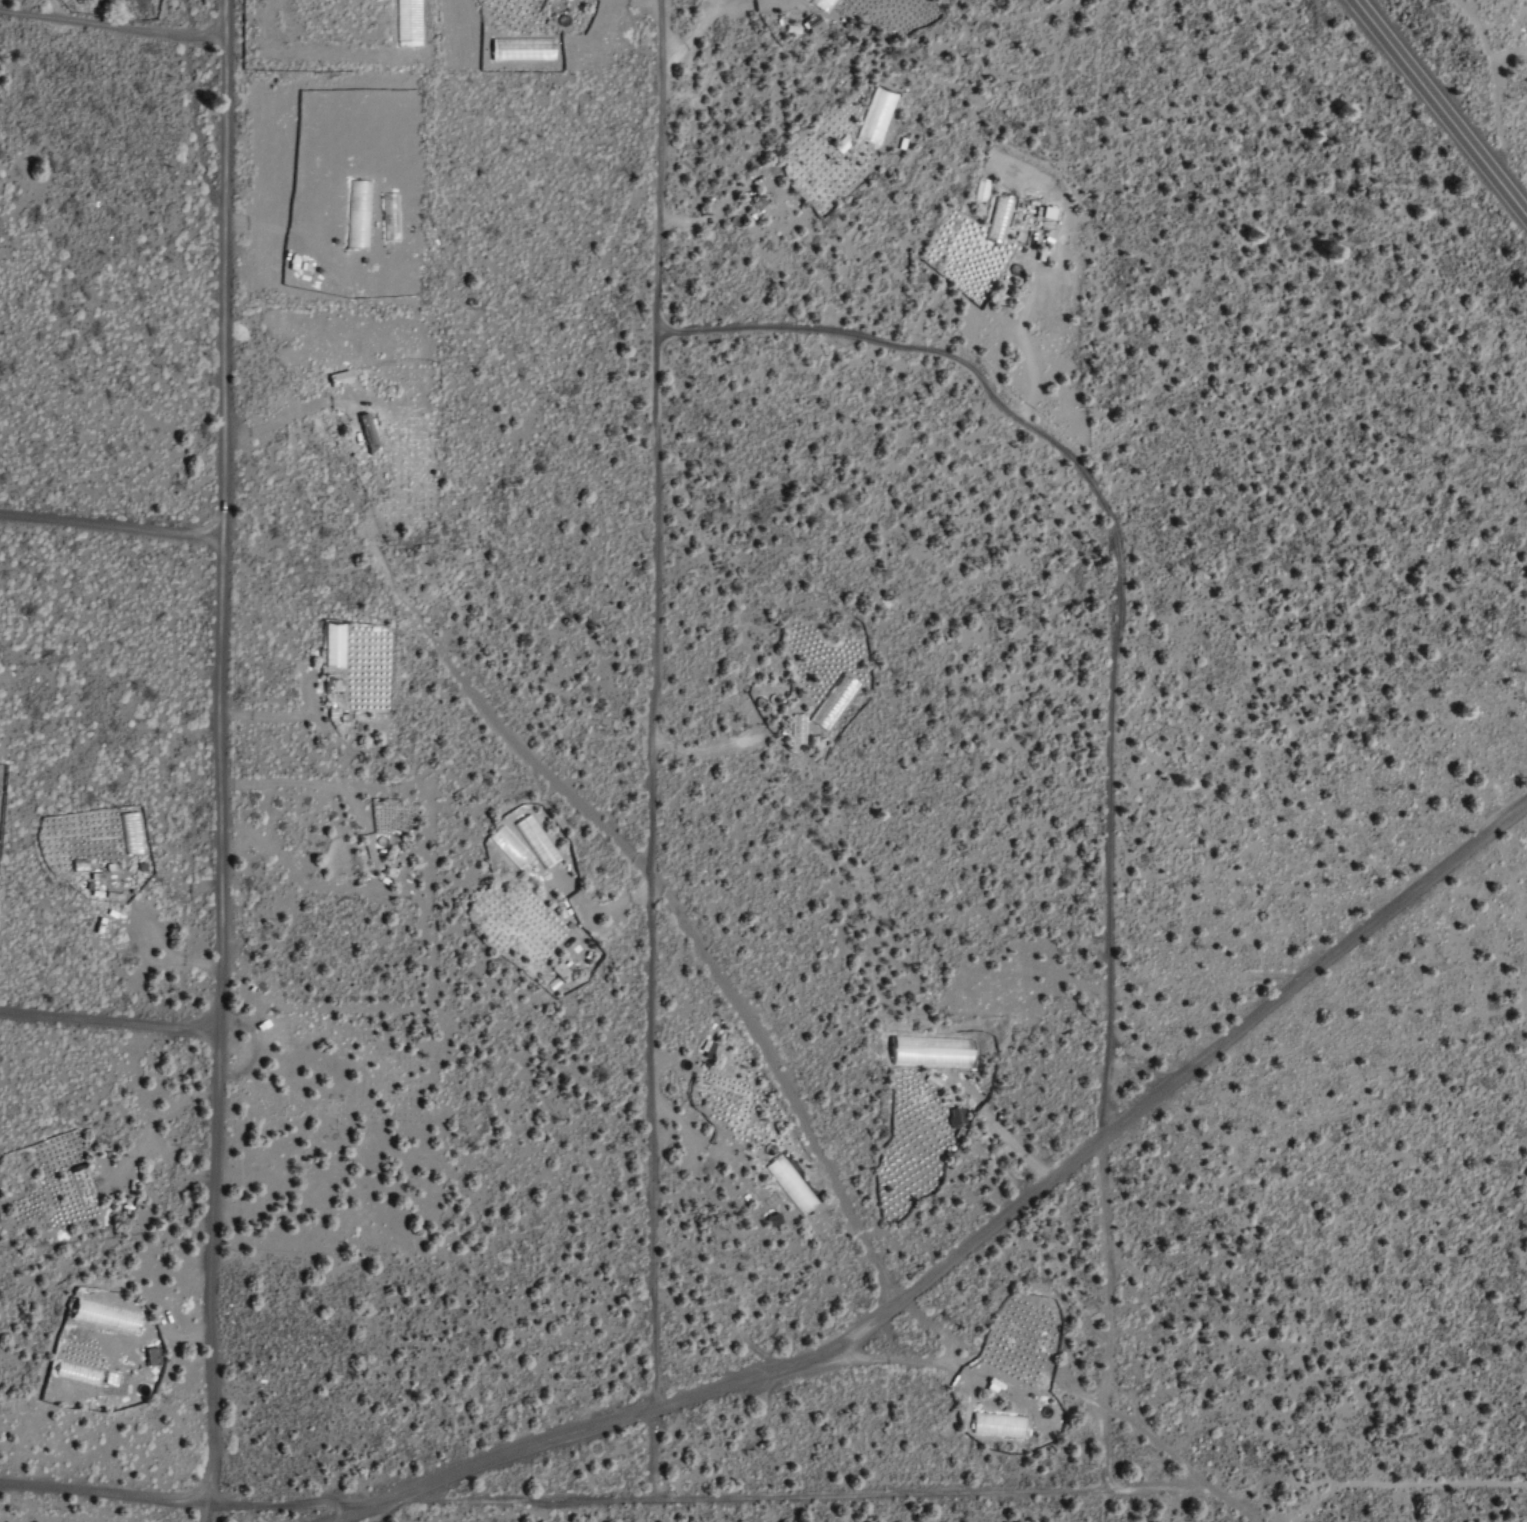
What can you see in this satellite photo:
road: (109, 23)
road: (1494, 85)
road: (1441, 107)
building: (337, 378)
building: (366, 434)
road: (109, 523)
building: (832, 701)
road: (1106, 735)
road: (644, 749)
road: (212, 761)
road: (591, 813)
building: (130, 833)
building: (534, 841)
building: (78, 865)
building: (99, 883)
road: (1311, 961)
building: (559, 972)
road: (106, 1020)
building: (706, 1049)
building: (81, 1184)
road: (966, 1235)
road: (645, 1404)
road: (599, 1497)
road: (1224, 1497)
road: (486, 1514)

